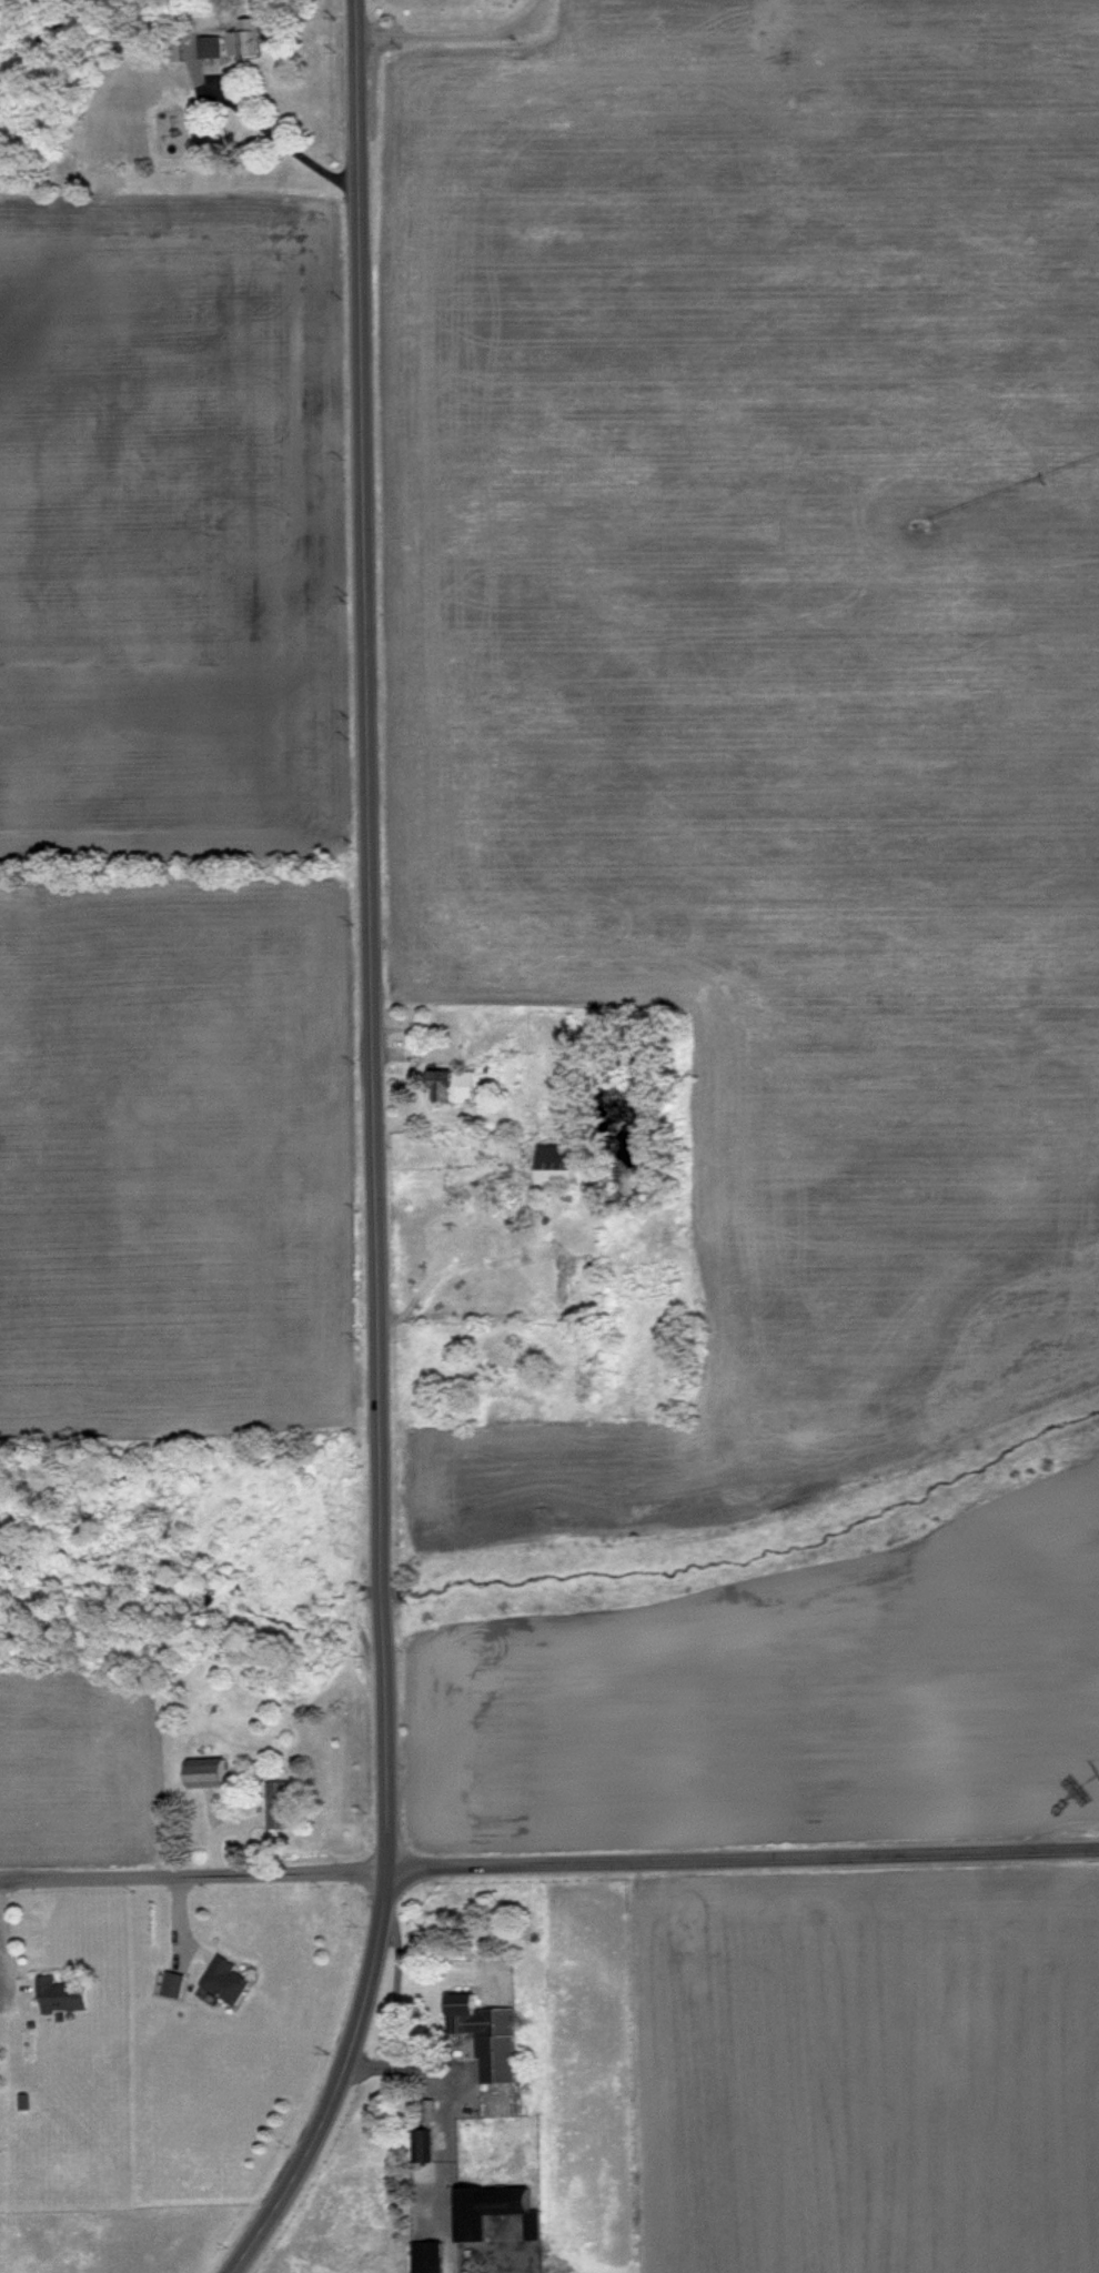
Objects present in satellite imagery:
road: (454, 28)
building: (238, 41)
building: (208, 46)
road: (275, 133)
building: (451, 1083)
road: (374, 1154)
building: (553, 1160)
building: (202, 1771)
building: (278, 1803)
road: (549, 1865)
road: (0, 1898)
building: (222, 1979)
building: (170, 1982)
building: (58, 1994)
building: (486, 2035)
building: (424, 2109)
building: (419, 2143)
building: (424, 2256)

